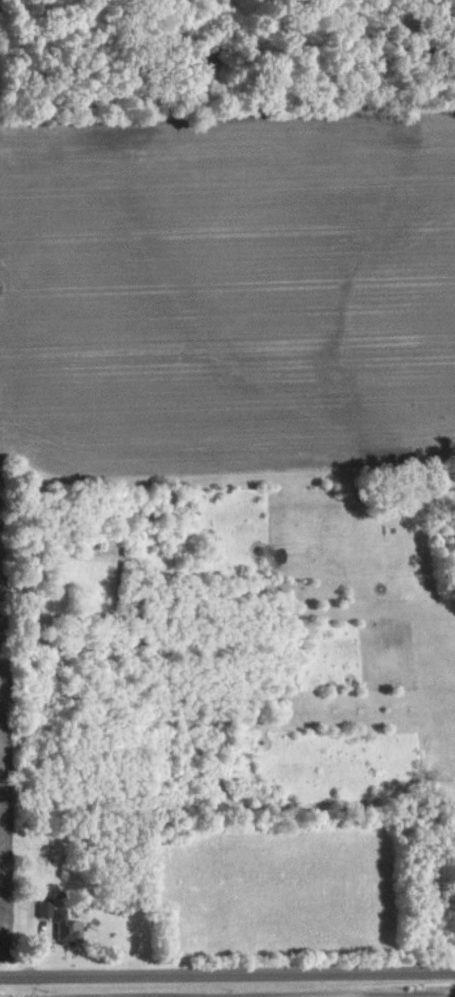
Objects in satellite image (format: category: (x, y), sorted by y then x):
road: (227, 981)

